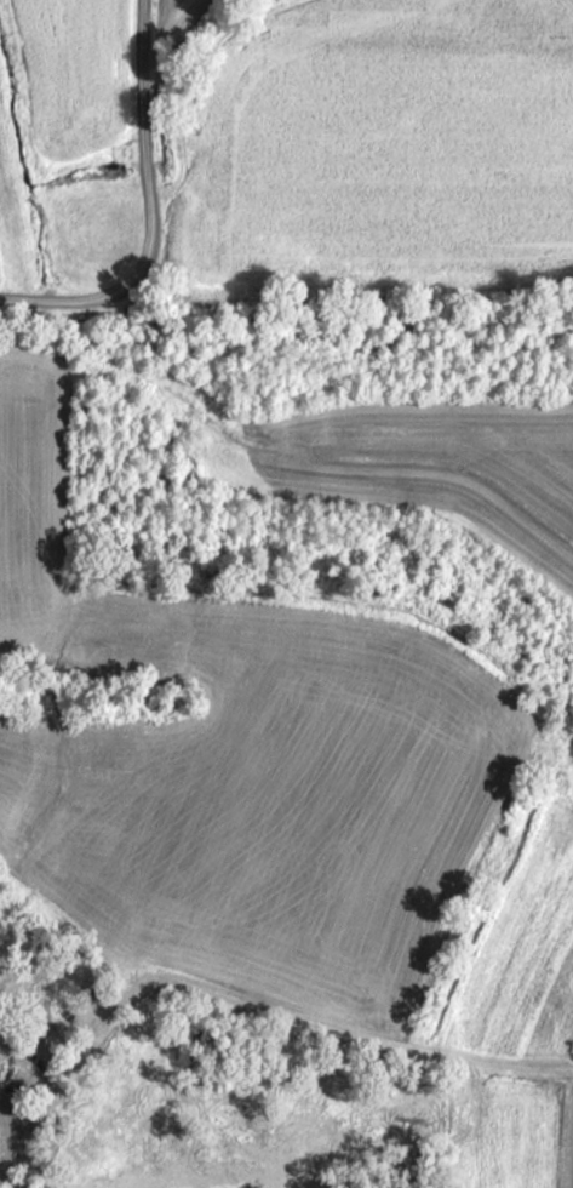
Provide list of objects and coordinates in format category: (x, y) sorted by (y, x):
road: (201, 79)
road: (150, 150)
road: (76, 299)
road: (245, 999)

